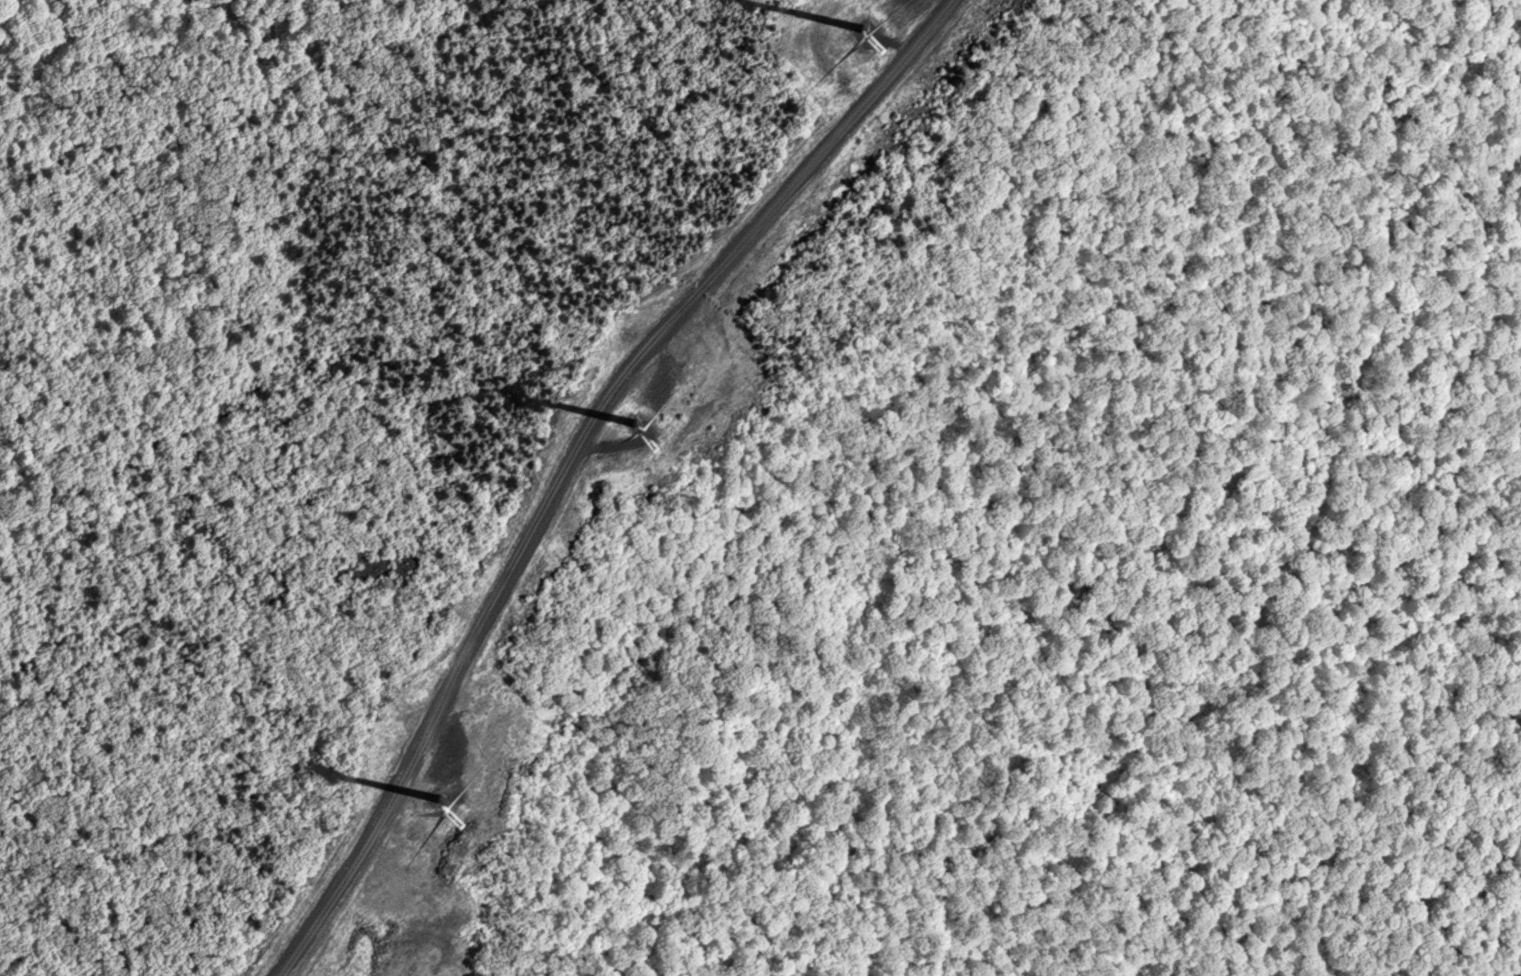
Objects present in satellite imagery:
wind turbine: (864, 29)
wind turbine: (639, 424)
road: (572, 458)
wind turbine: (443, 799)

